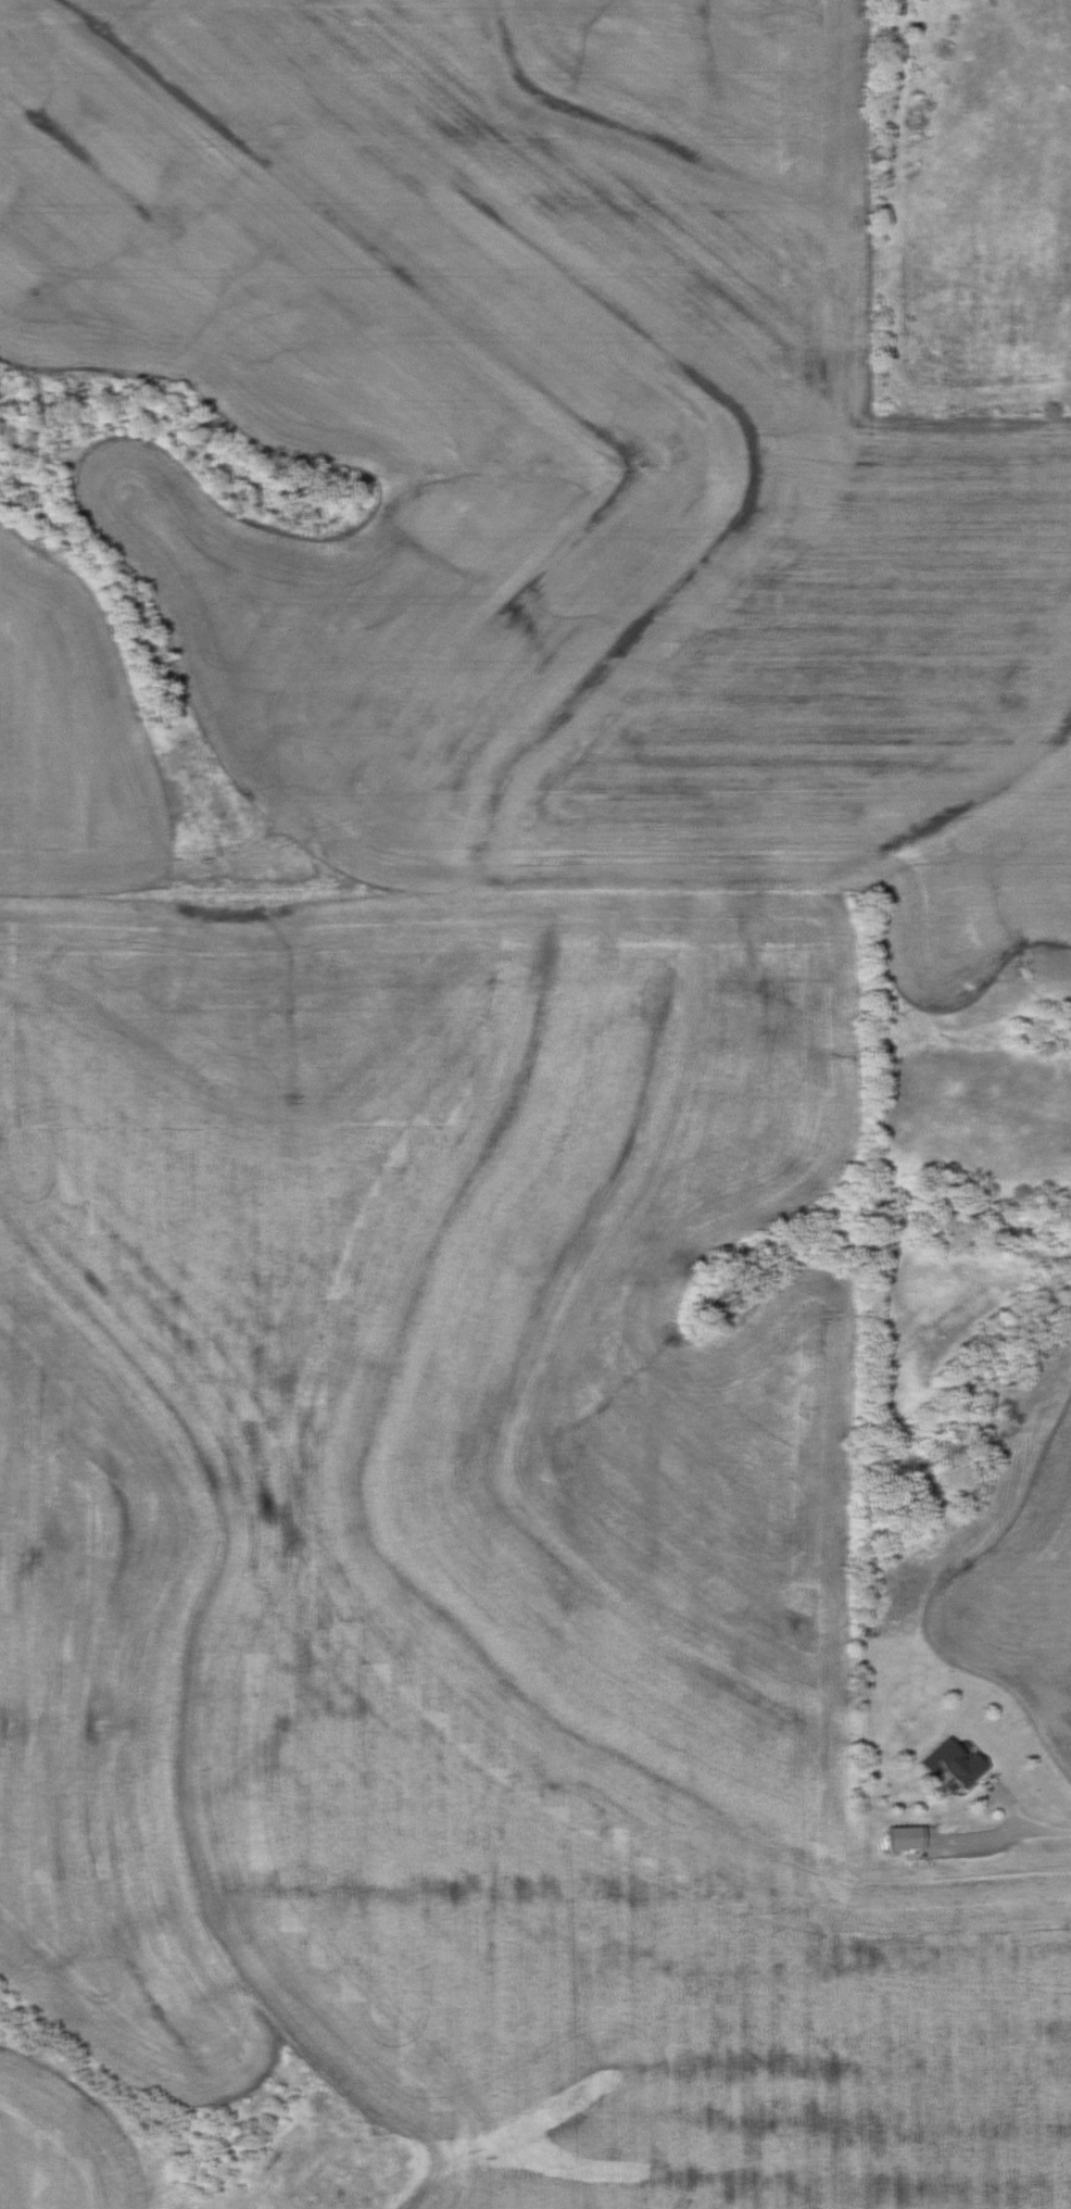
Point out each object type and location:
building: (958, 1762)
road: (1021, 1825)
building: (906, 1838)

